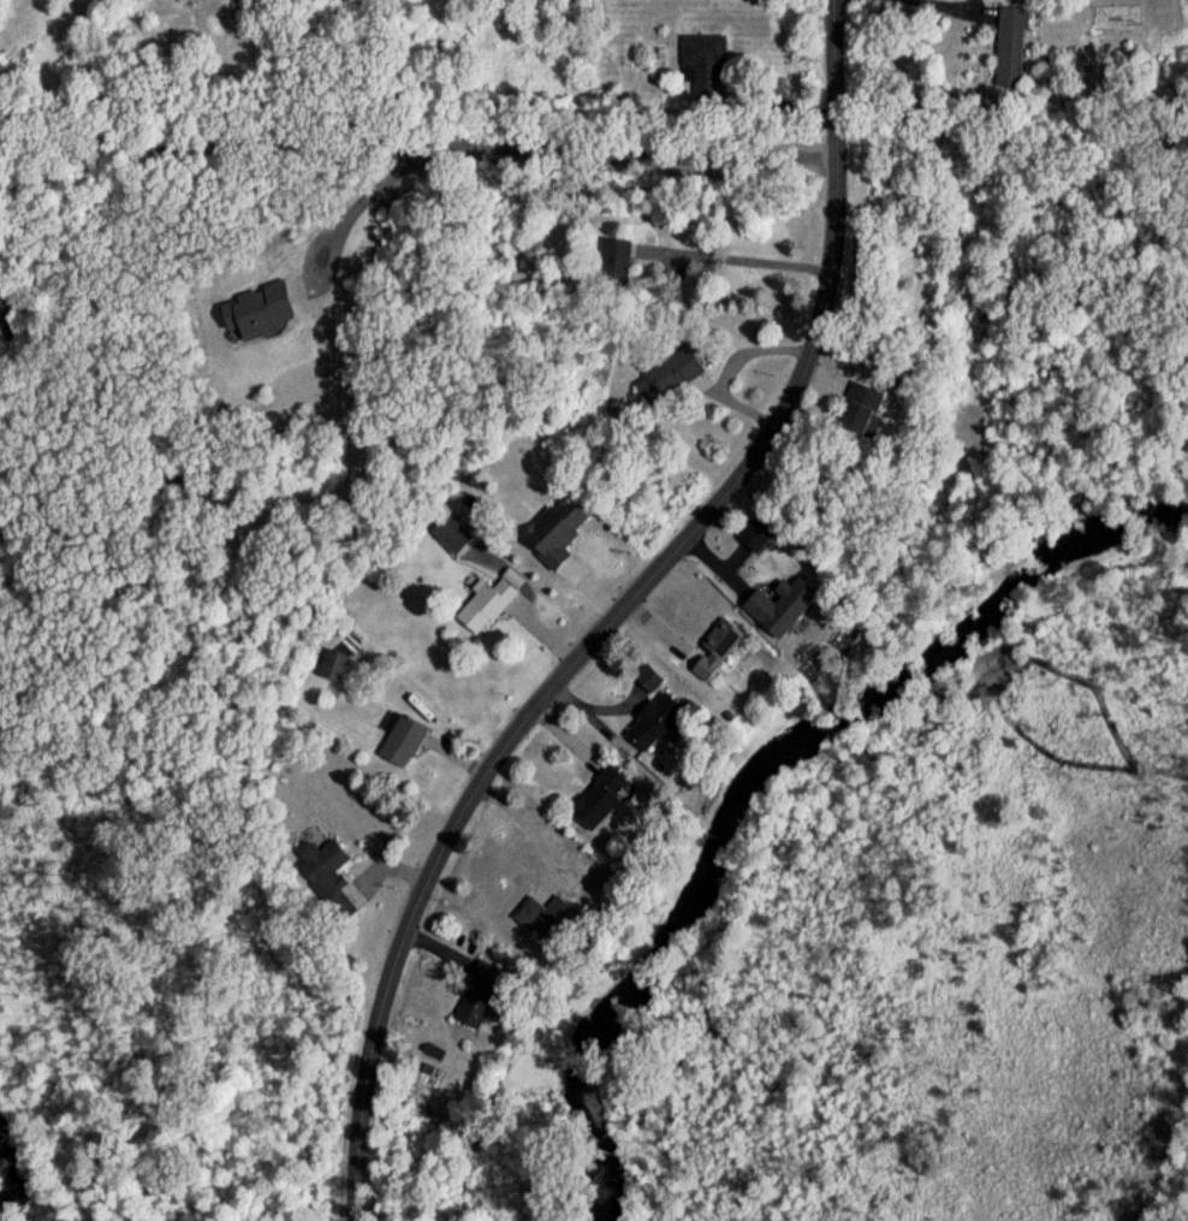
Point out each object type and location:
building: (702, 0)
road: (931, 7)
building: (1008, 52)
building: (701, 72)
road: (416, 148)
road: (356, 203)
road: (735, 262)
building: (608, 269)
building: (255, 314)
building: (664, 383)
building: (855, 417)
building: (550, 538)
building: (446, 541)
building: (481, 610)
road: (617, 614)
building: (788, 620)
building: (713, 657)
building: (328, 672)
building: (645, 684)
building: (651, 728)
building: (398, 746)
building: (594, 802)
building: (320, 873)
building: (540, 924)
building: (474, 1000)

